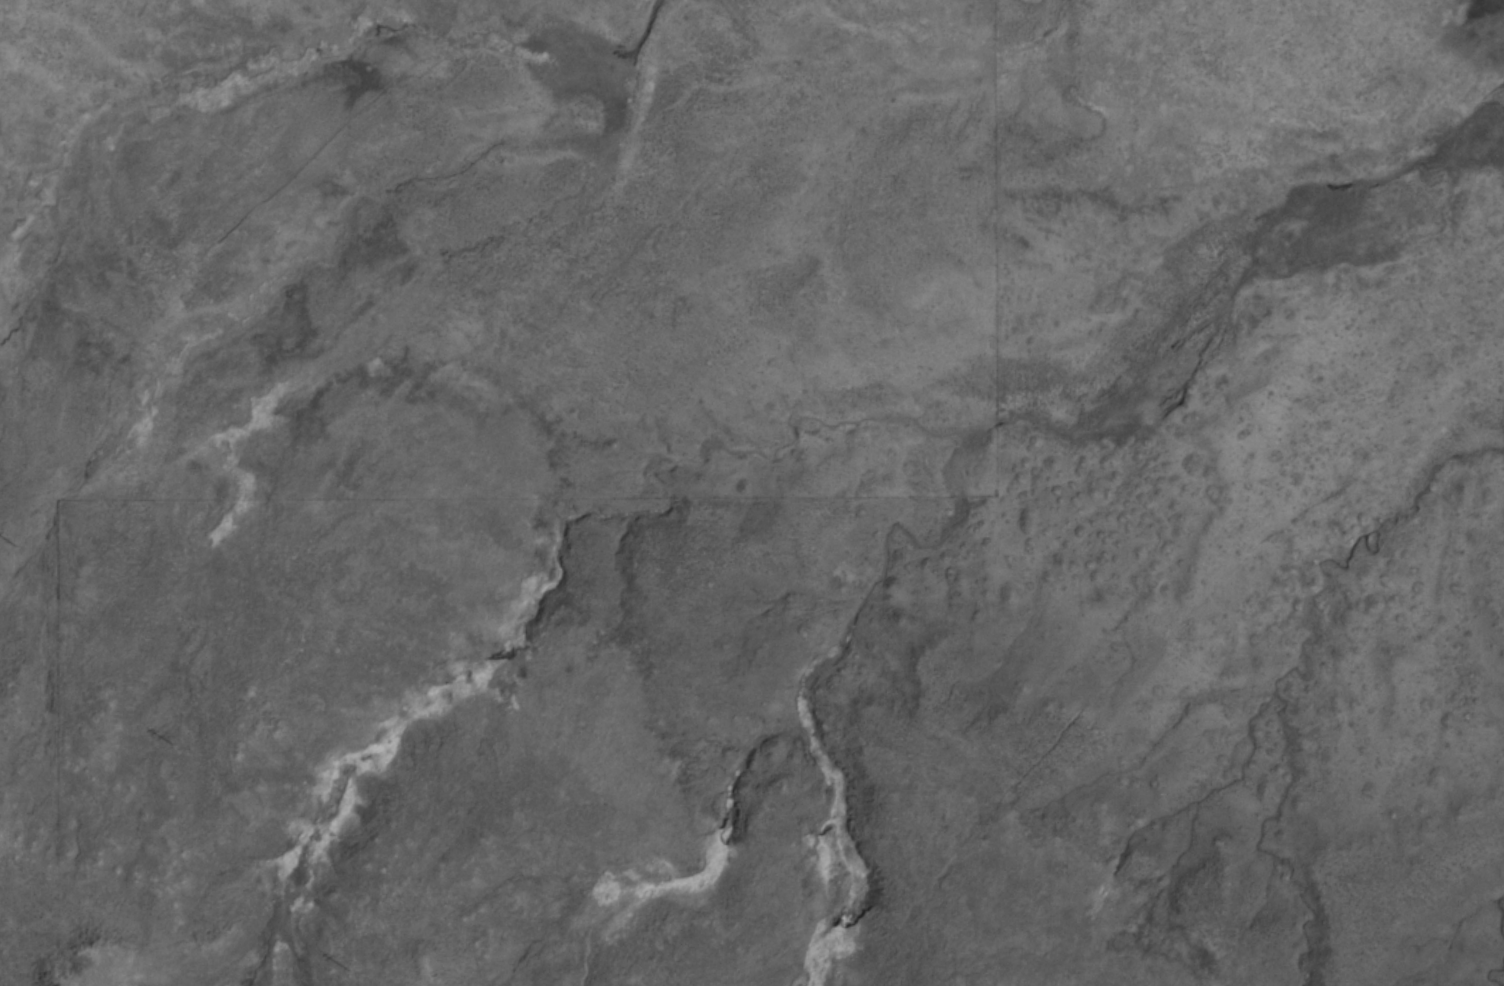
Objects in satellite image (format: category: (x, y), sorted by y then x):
power tower: (23, 546)
power tower: (178, 744)
power tower: (358, 974)

